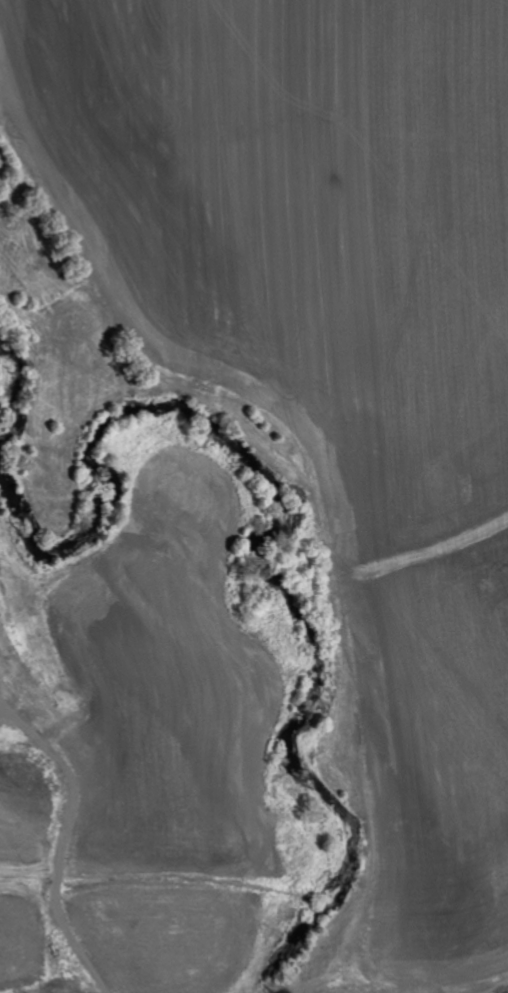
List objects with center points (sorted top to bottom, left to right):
road: (60, 839)

